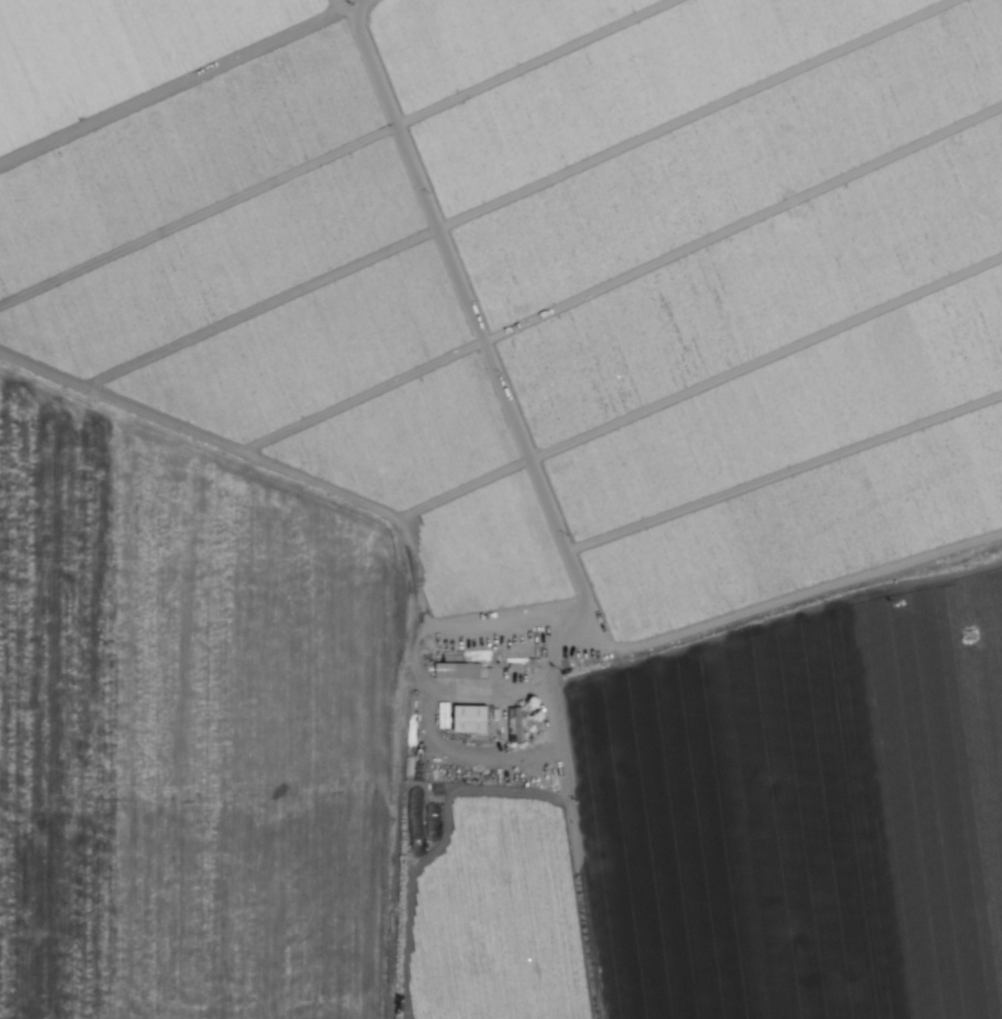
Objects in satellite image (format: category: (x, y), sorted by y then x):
crop: (467, 226)
crop: (524, 713)
building: (470, 718)
road: (431, 722)
road: (563, 722)

